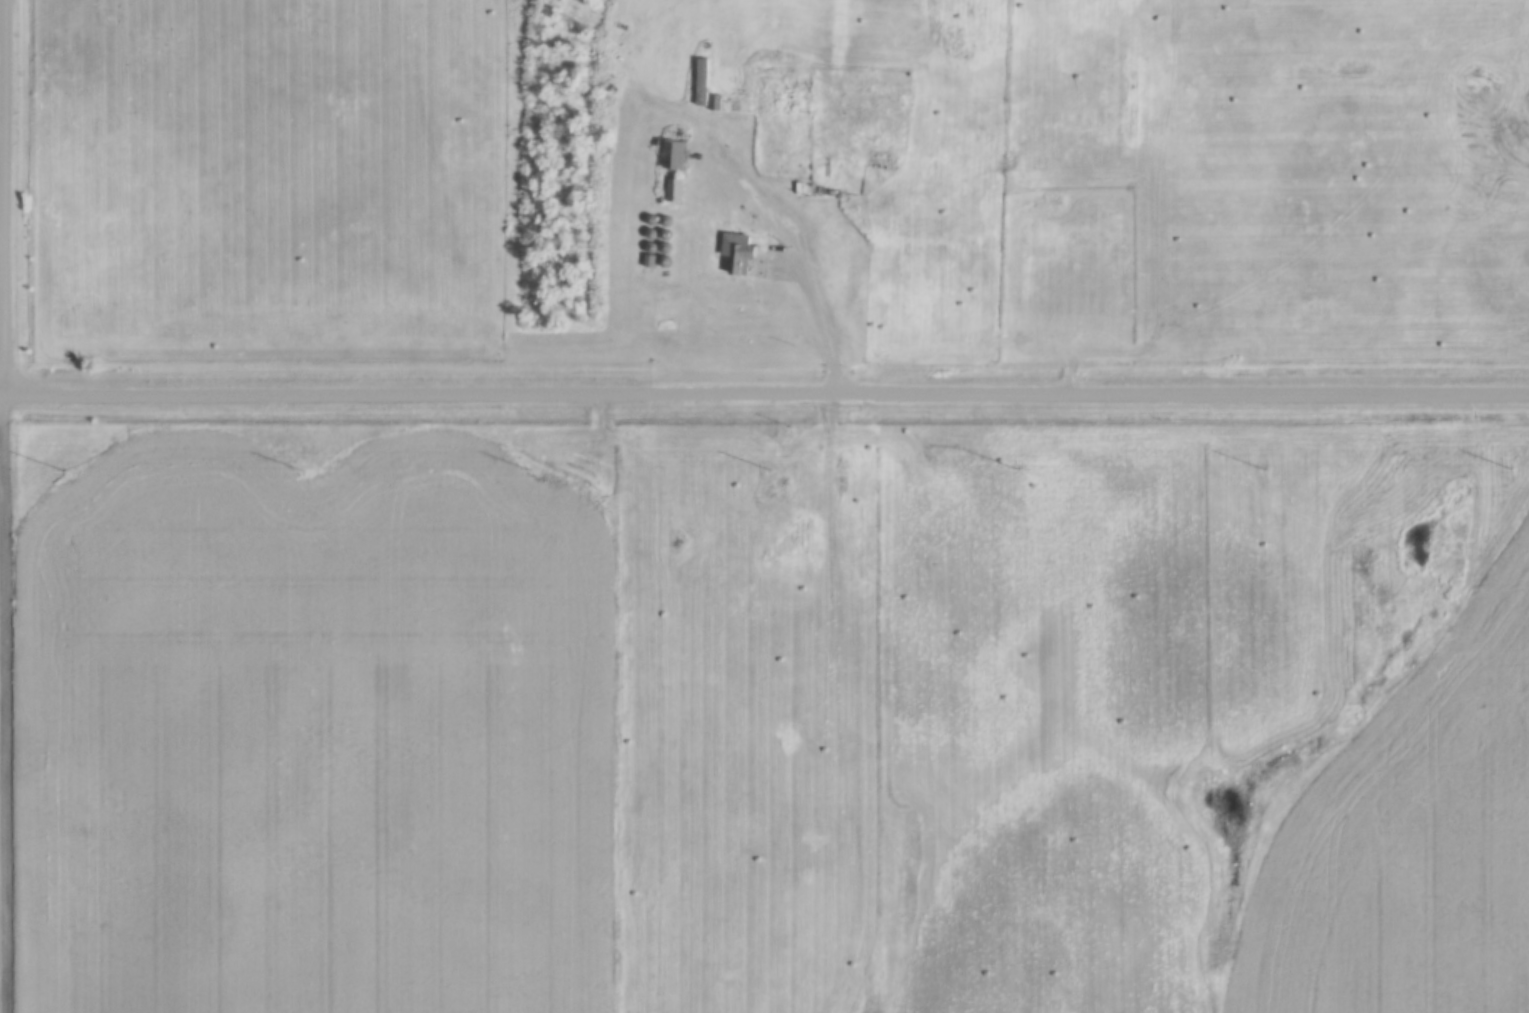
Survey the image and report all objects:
building: (779, 98)
building: (678, 154)
road: (5, 197)
road: (796, 254)
road: (764, 394)
road: (7, 703)

